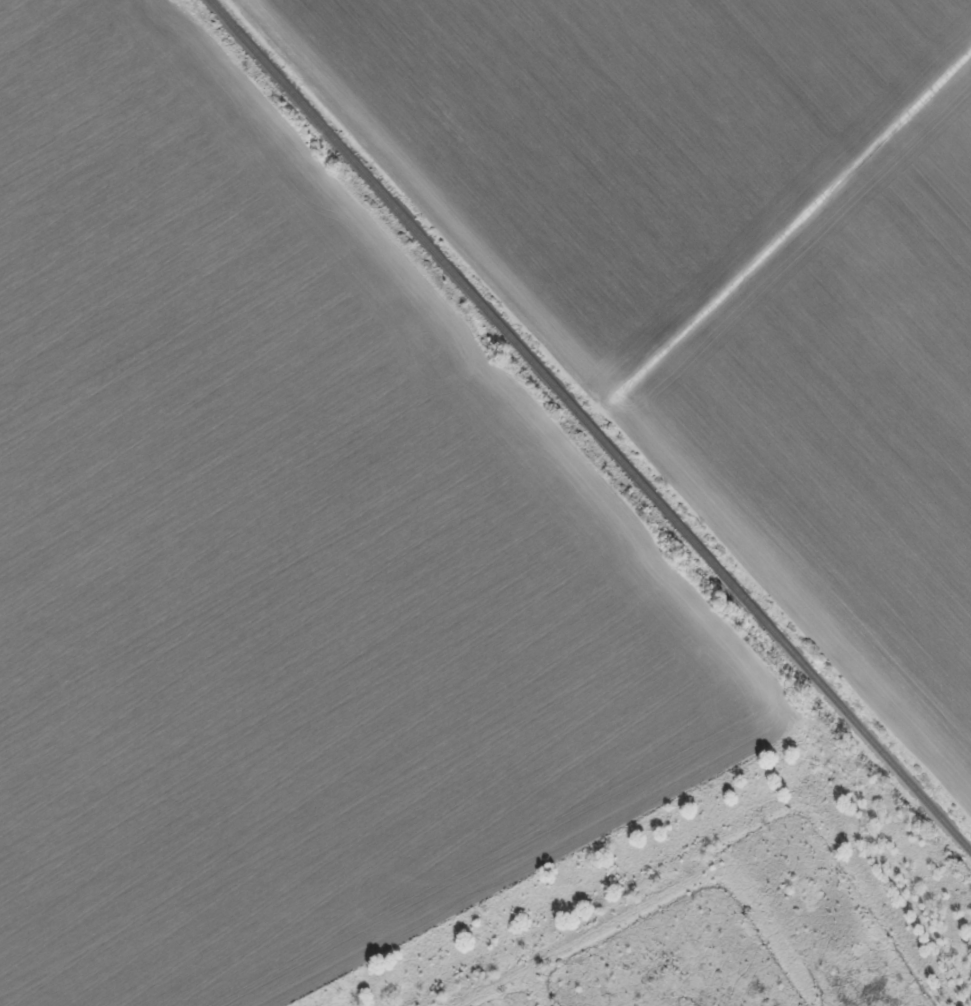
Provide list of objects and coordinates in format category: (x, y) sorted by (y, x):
railway: (588, 428)

